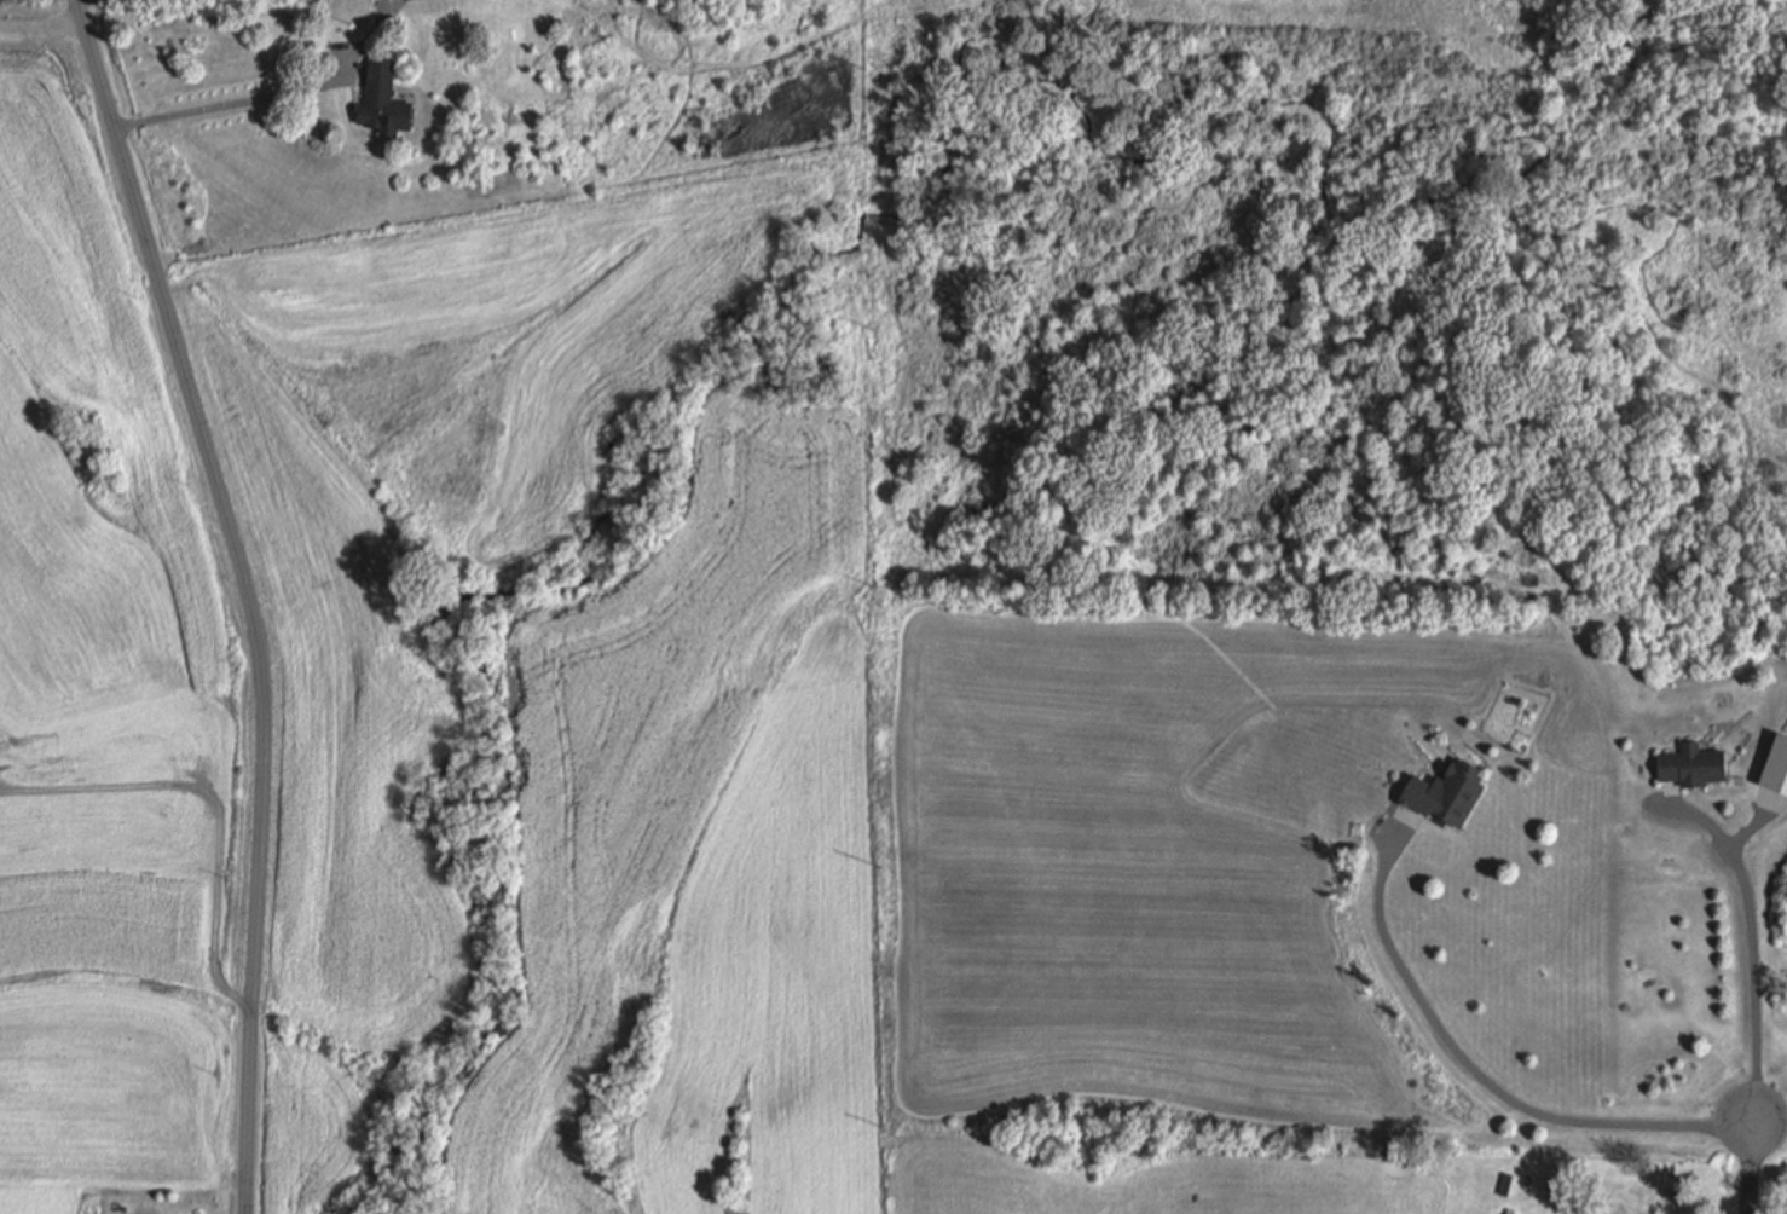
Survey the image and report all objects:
building: (424, 0)
building: (382, 100)
road: (245, 102)
crop: (411, 288)
crop: (620, 359)
road: (249, 595)
crop: (105, 698)
crop: (337, 723)
building: (1690, 763)
crop: (647, 773)
building: (1446, 792)
road: (1751, 948)
road: (189, 1023)
road: (1477, 1076)
crop: (310, 1134)
road: (1751, 1170)
building: (1527, 1179)
building: (1505, 1183)

